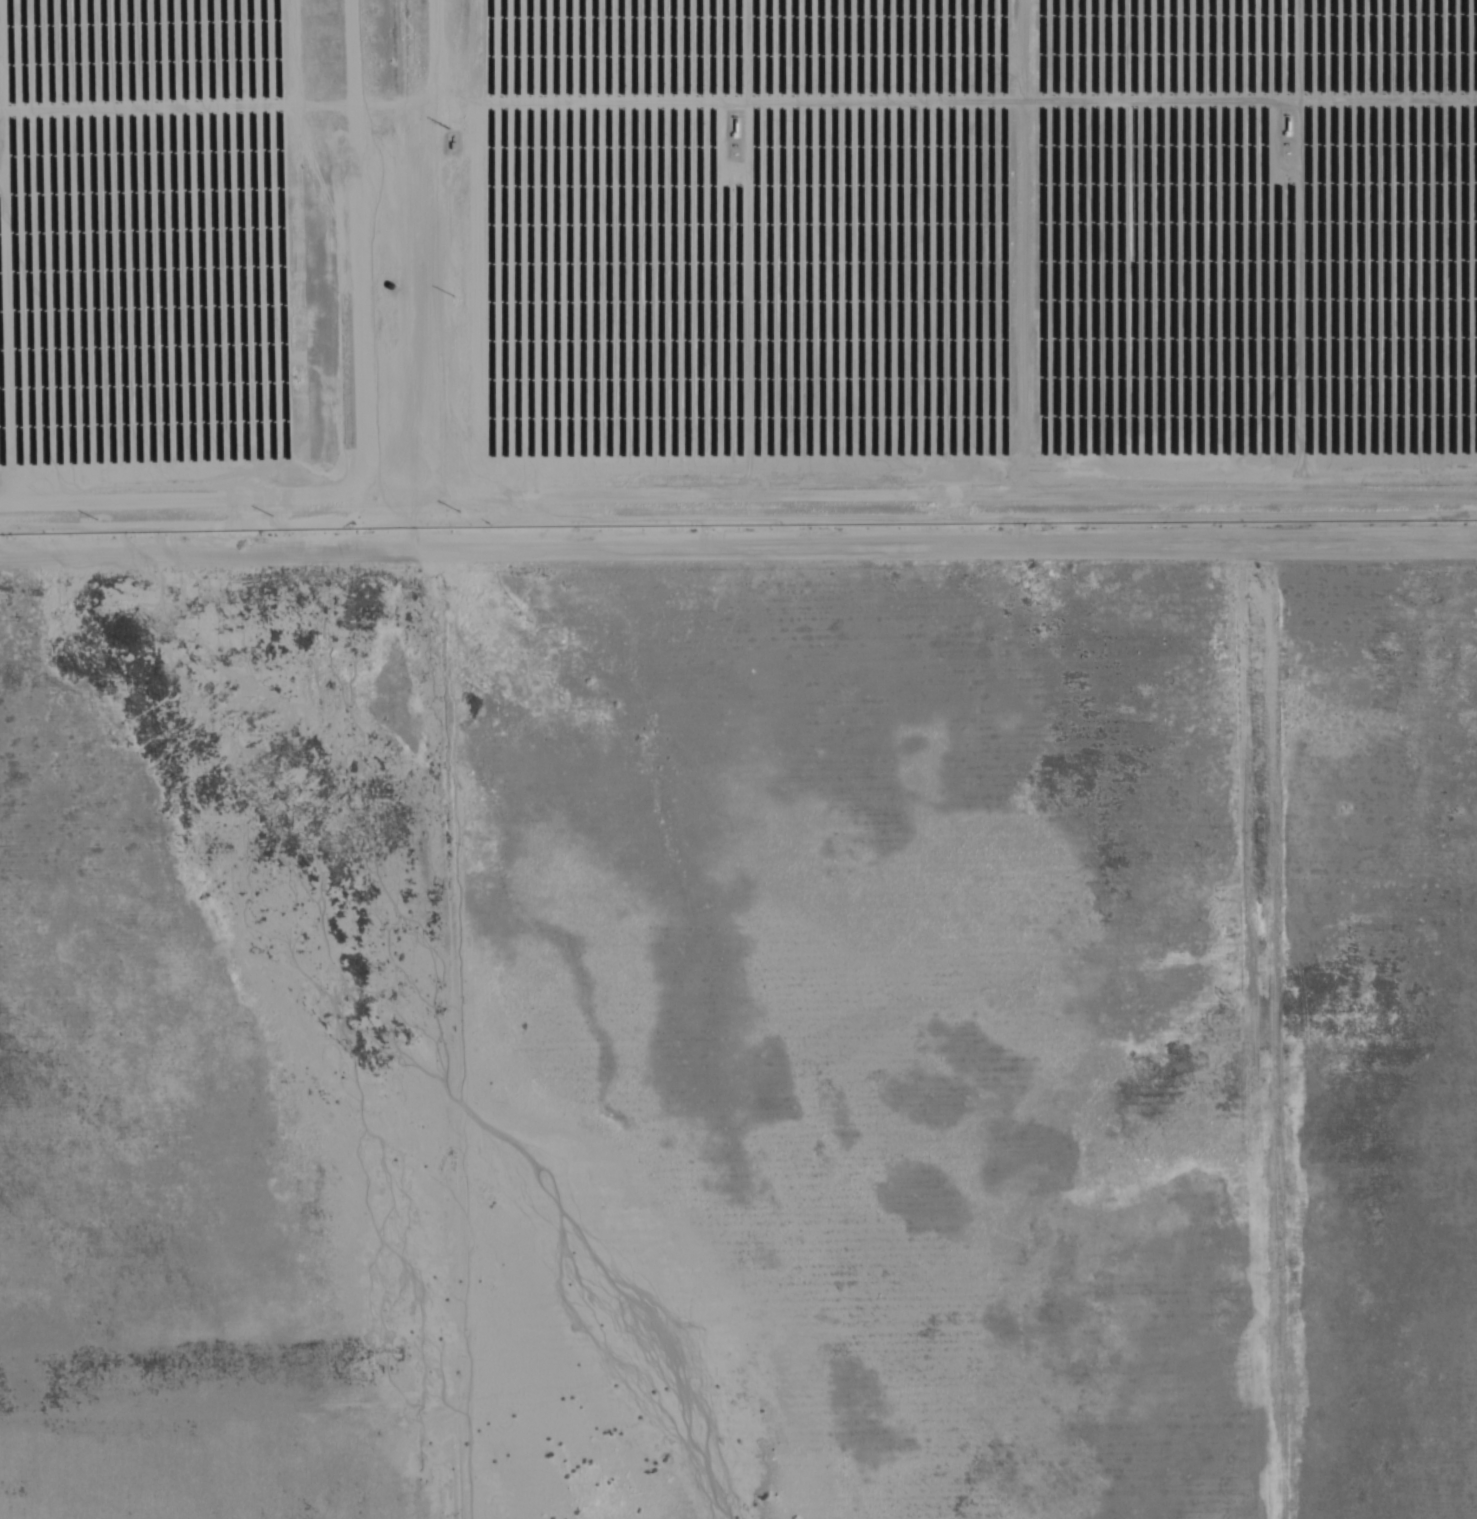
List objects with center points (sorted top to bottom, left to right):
solar farm: (734, 263)
road: (738, 545)

